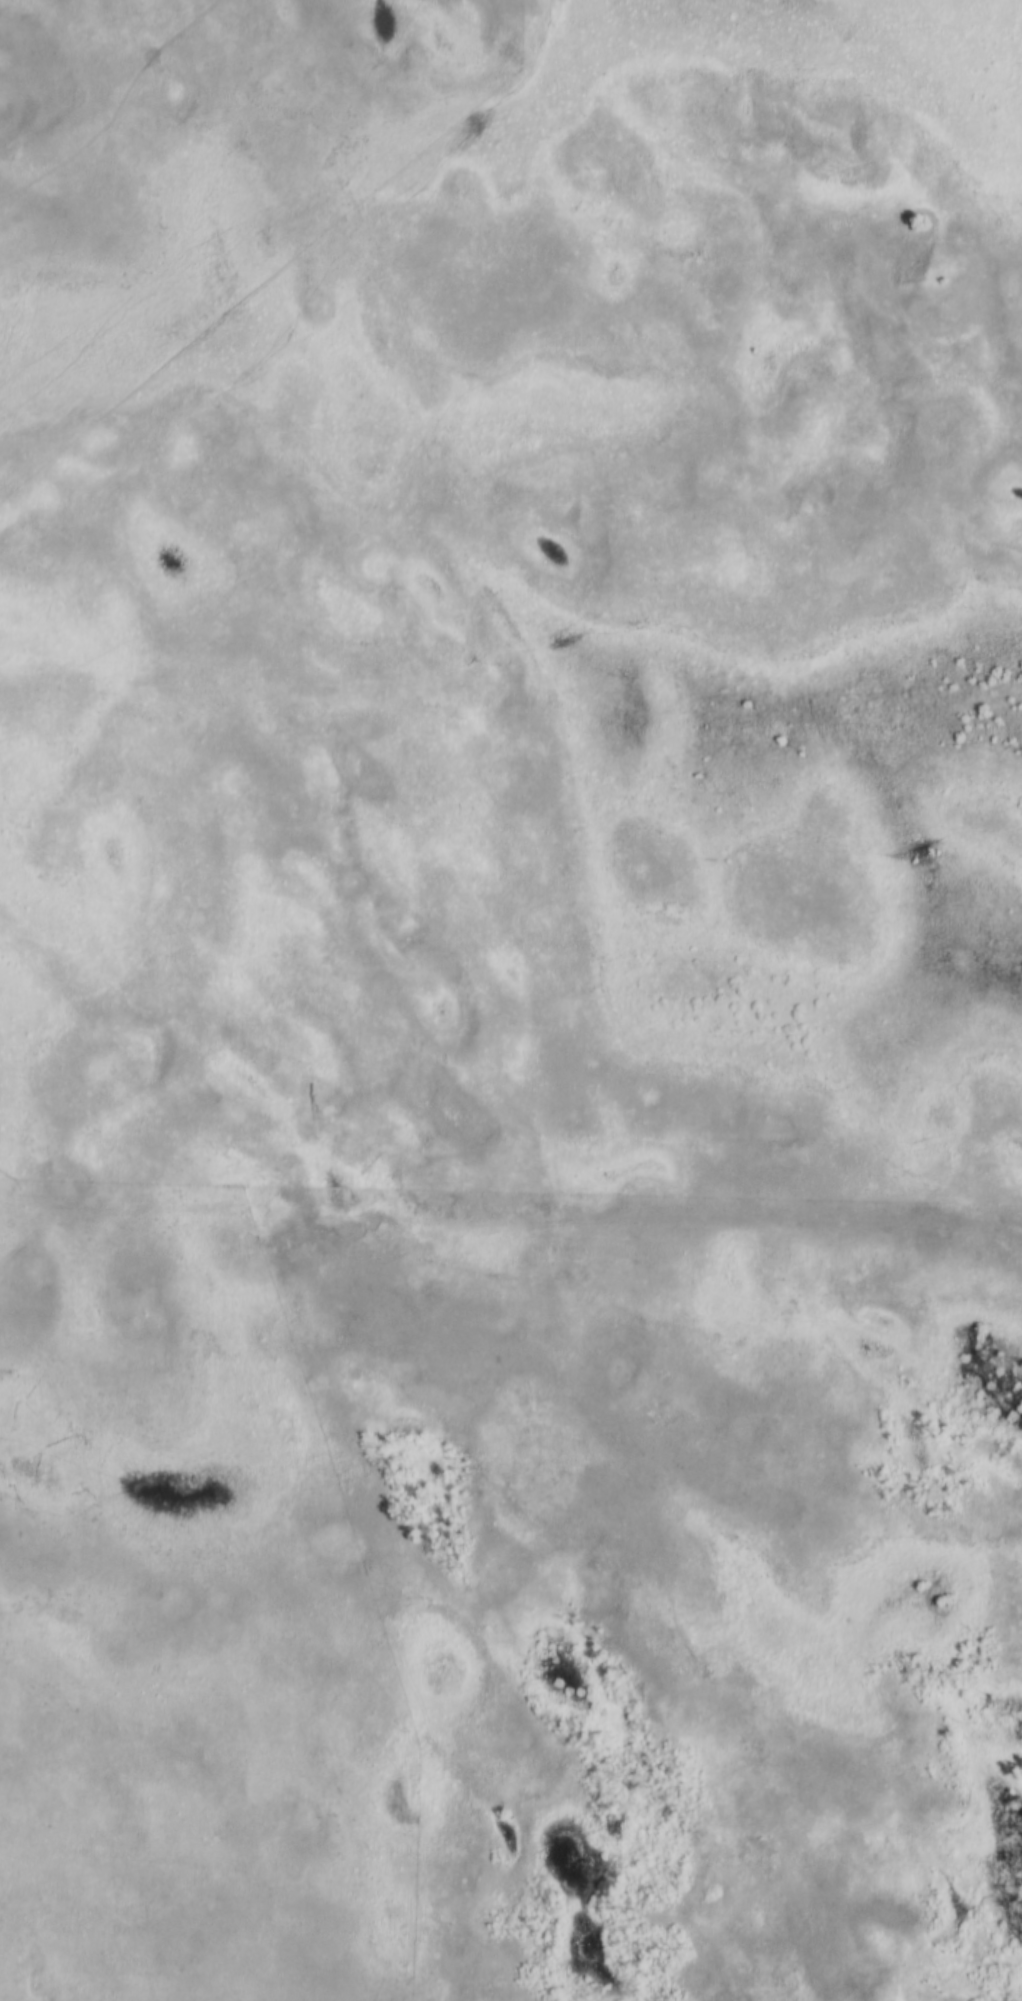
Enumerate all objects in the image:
road: (113, 106)

